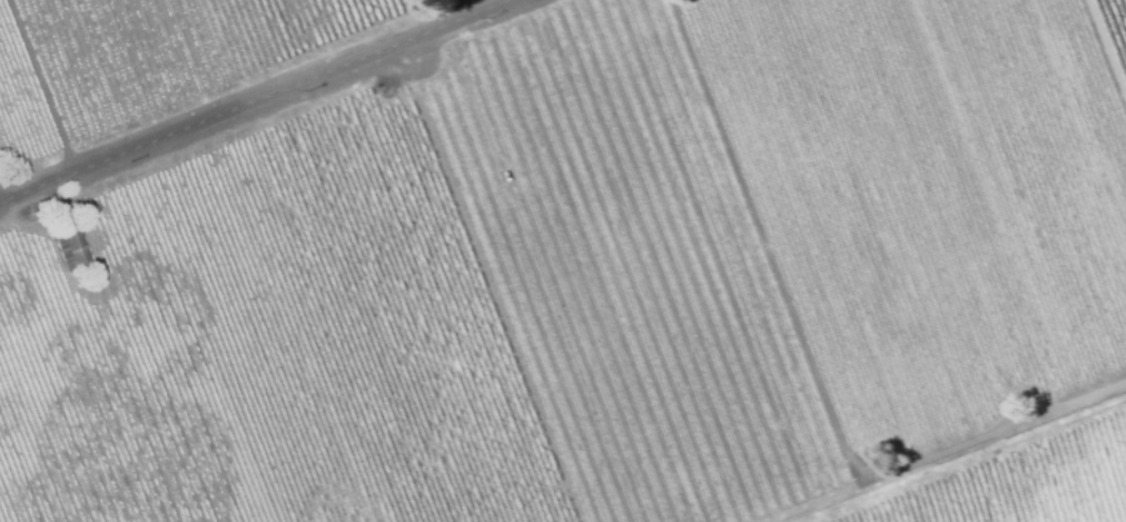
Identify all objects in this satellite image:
road: (462, 7)
road: (250, 99)
building: (63, 224)
building: (71, 250)

